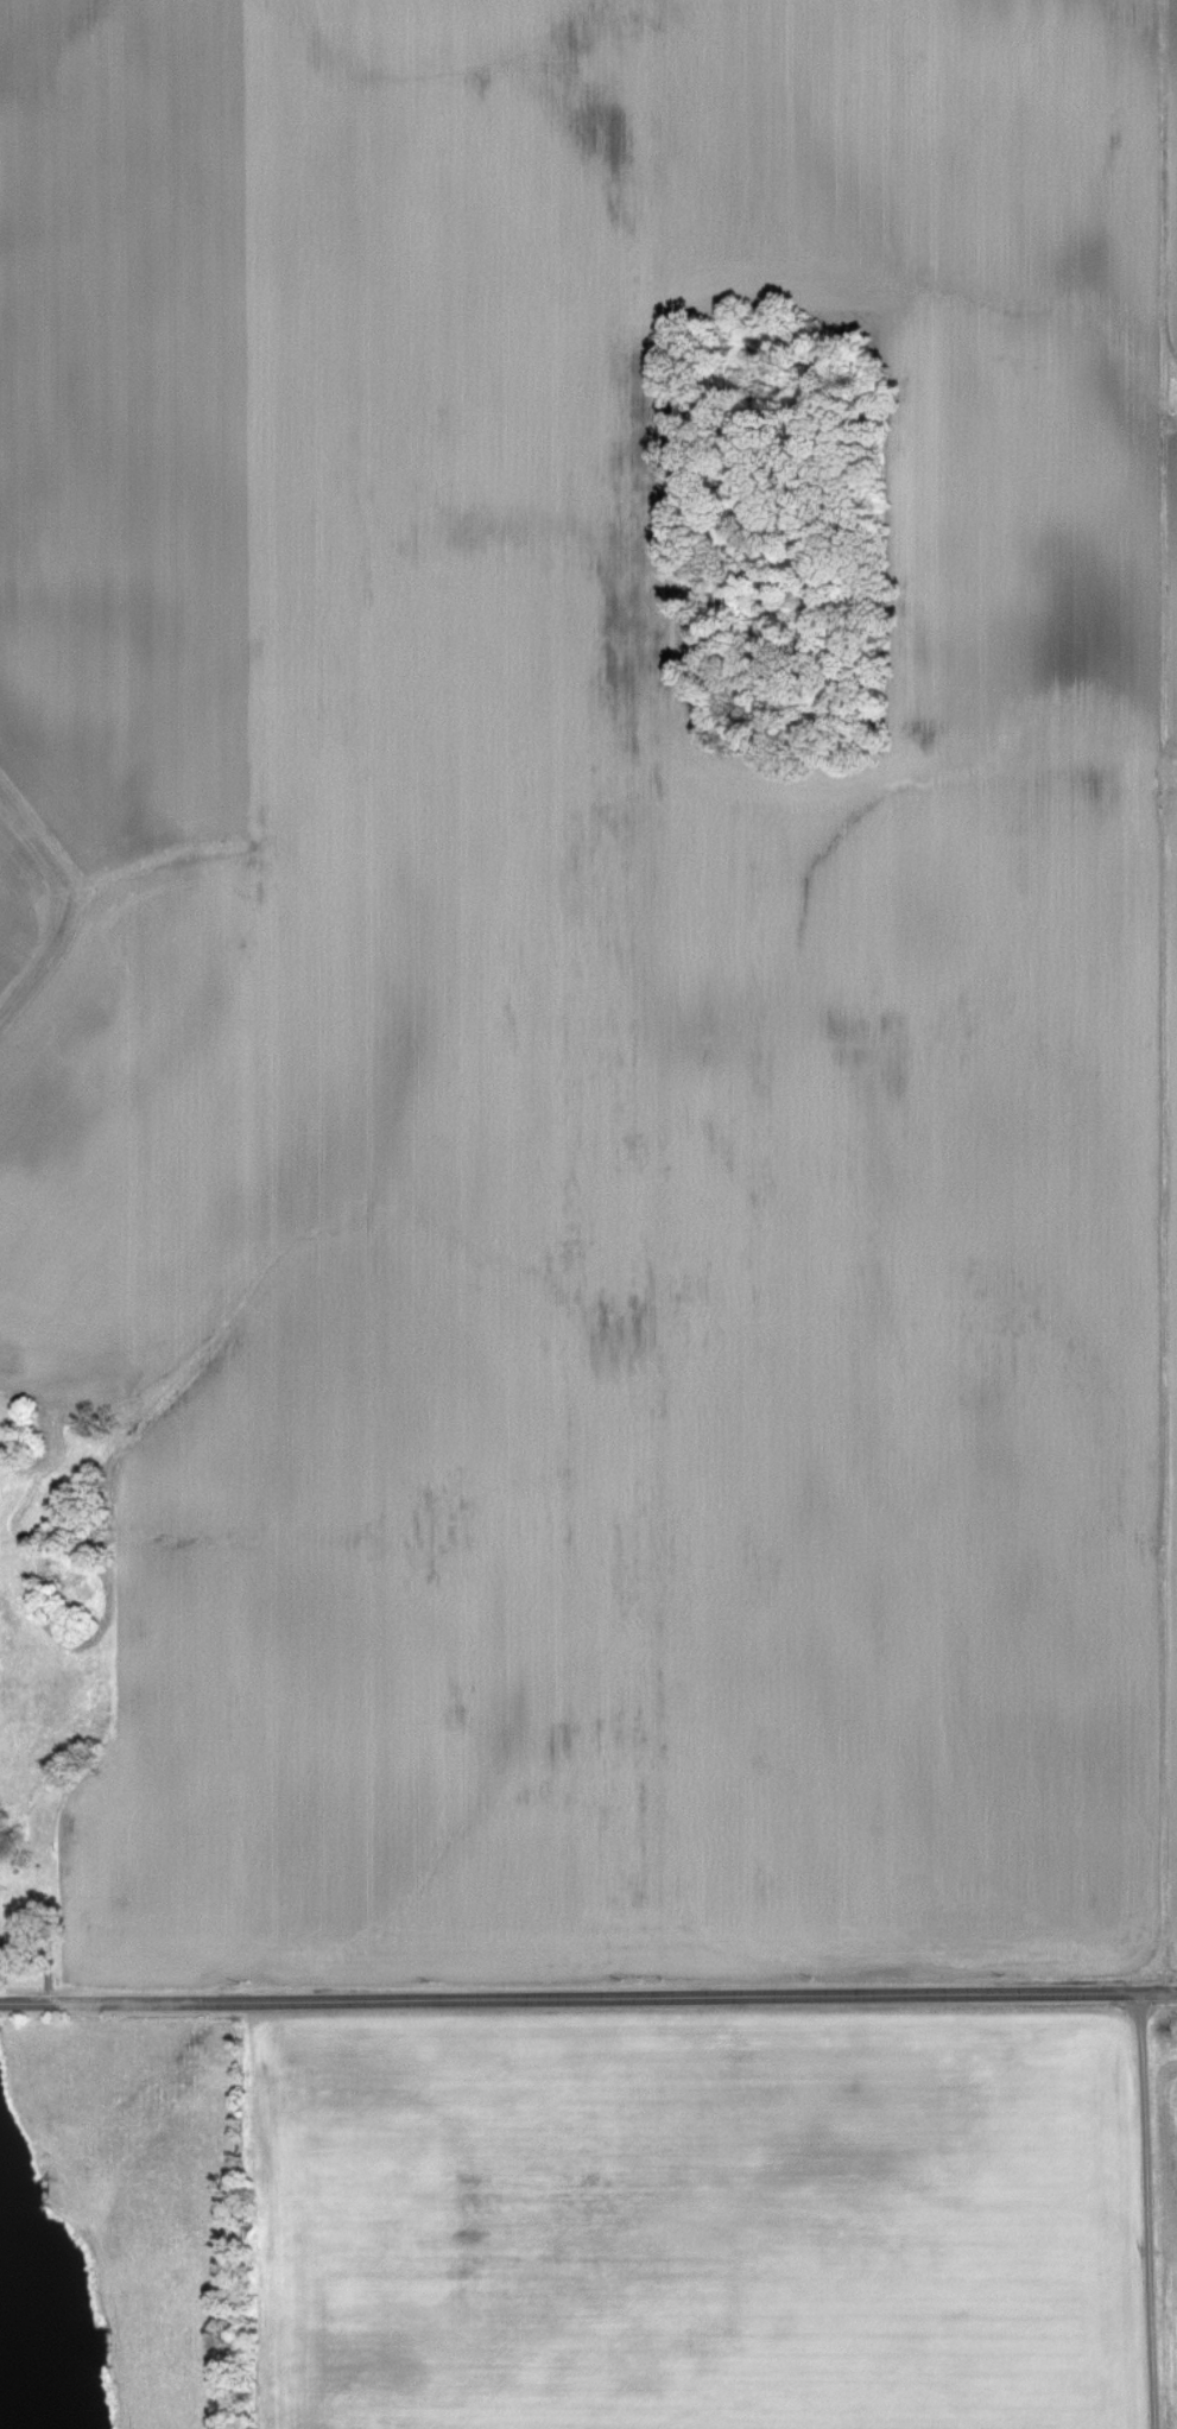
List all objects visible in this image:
road: (588, 1999)

